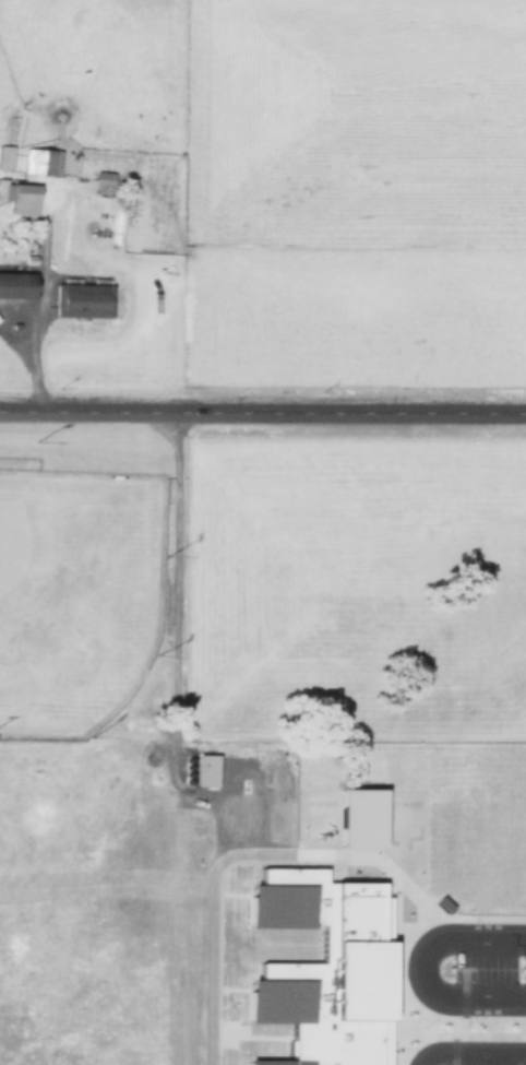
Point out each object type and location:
building: (8, 158)
building: (43, 161)
building: (103, 180)
crop: (357, 196)
building: (24, 204)
building: (20, 286)
building: (81, 299)
road: (263, 411)
road: (167, 534)
park: (10, 540)
crop: (348, 582)
park: (77, 593)
road: (263, 736)
building: (203, 769)
road: (511, 772)
building: (359, 816)
building: (441, 857)
park: (256, 860)
building: (512, 885)
road: (167, 900)
building: (476, 910)
track: (292, 932)
road: (409, 960)
building: (324, 968)
road: (458, 978)
road: (470, 999)
road: (475, 1019)
parking lot: (498, 1026)
building: (429, 1038)
park: (238, 1054)
road: (487, 1055)
road: (452, 1056)

